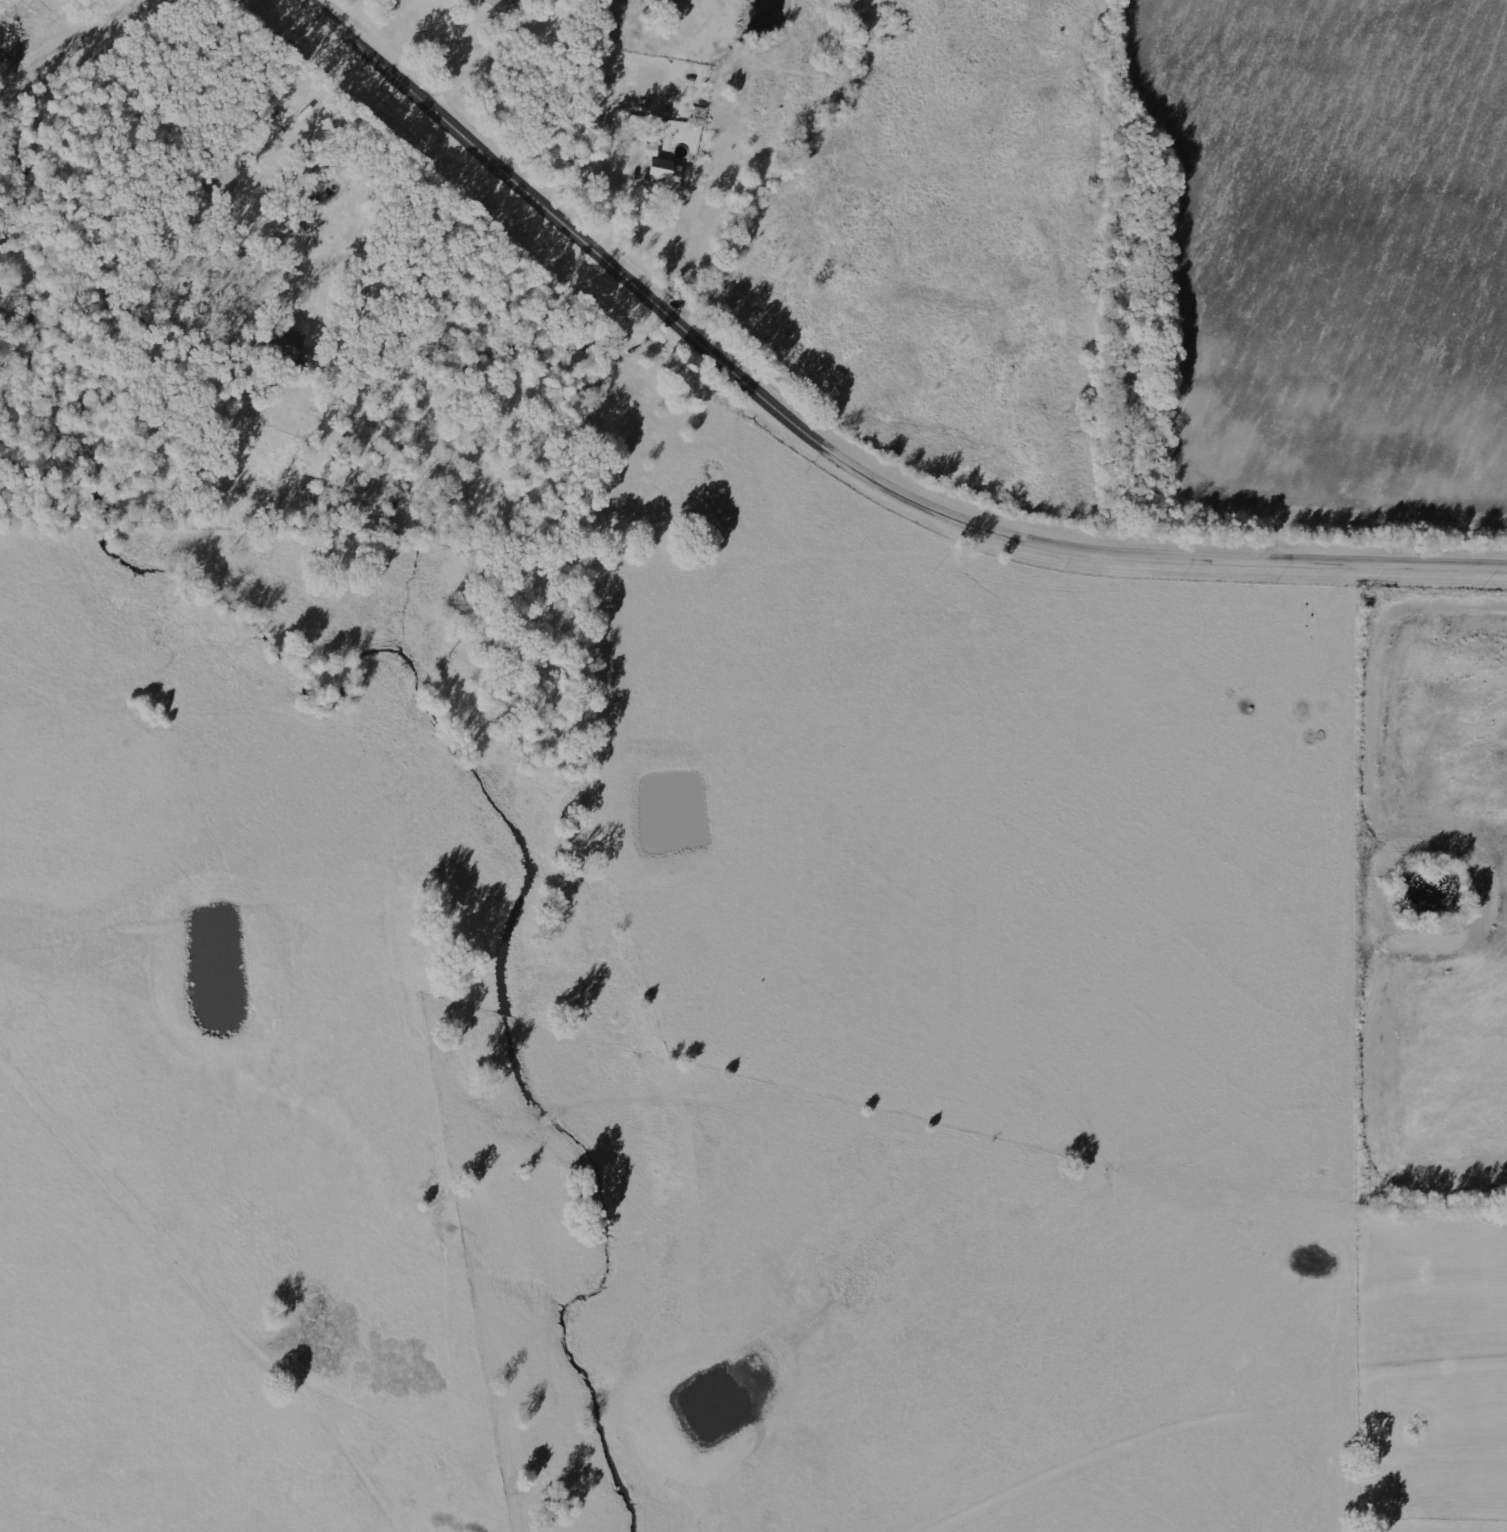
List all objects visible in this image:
building: (495, 3)
road: (634, 129)
building: (669, 175)
road: (361, 249)
building: (291, 349)
road: (842, 441)

